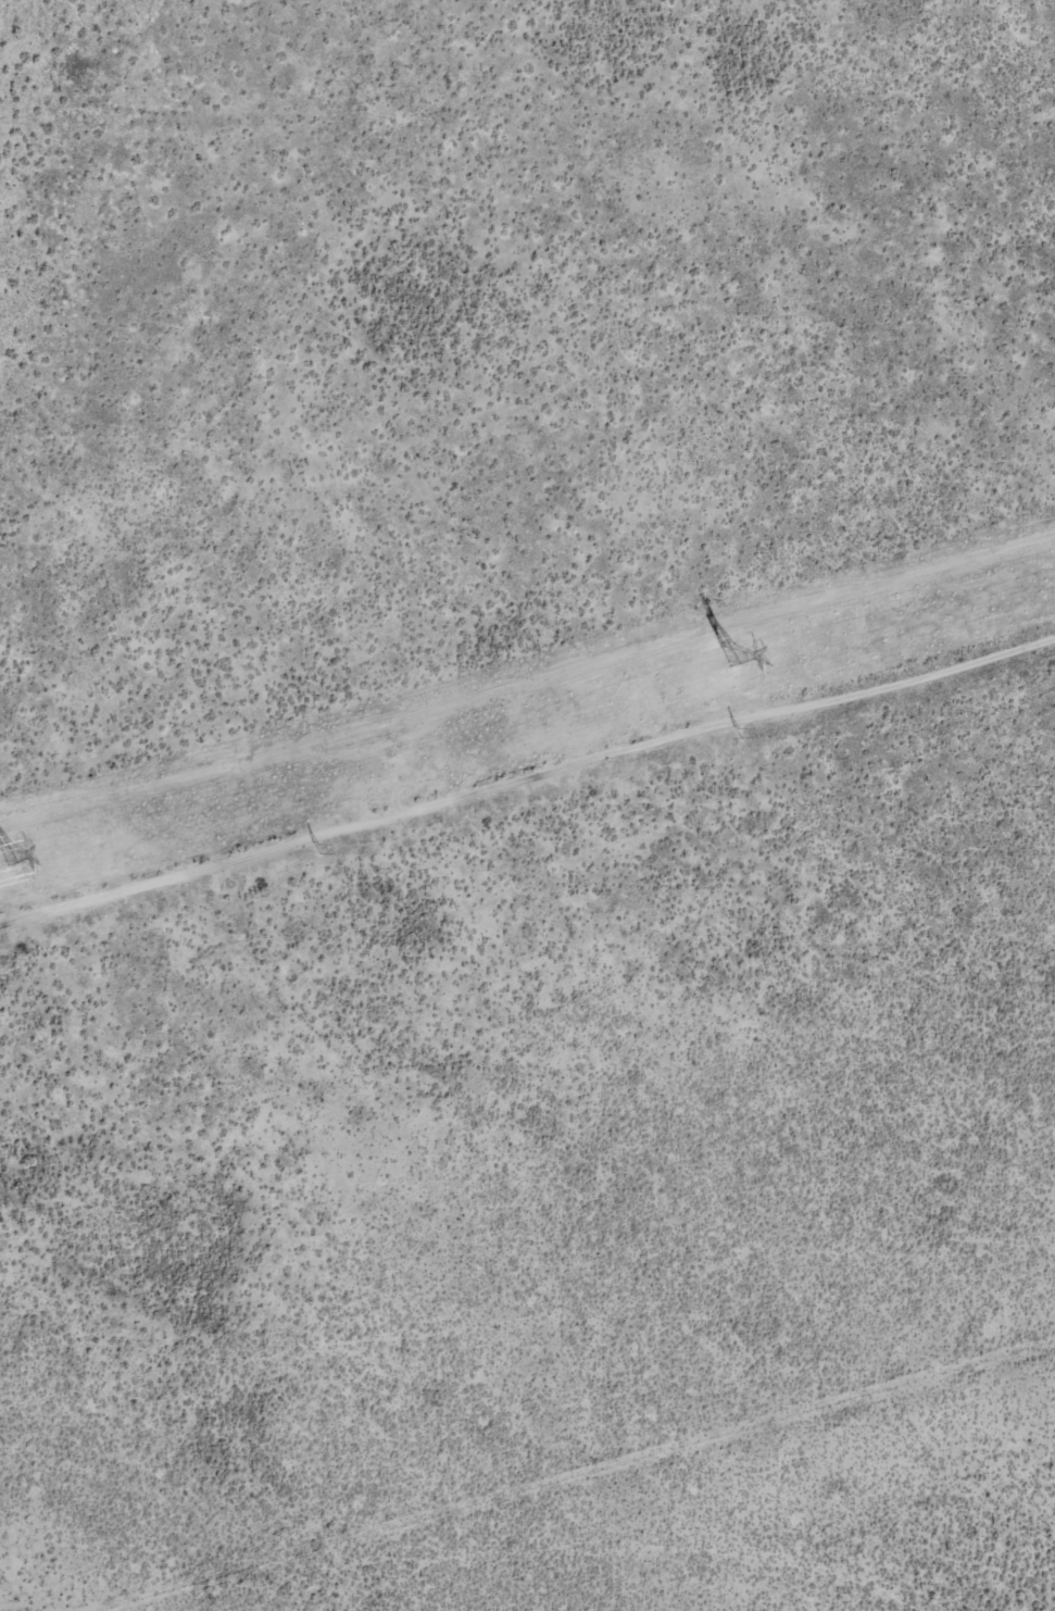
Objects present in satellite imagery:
power tower: (731, 654)
power tower: (739, 735)
power tower: (317, 849)
power tower: (5, 858)

